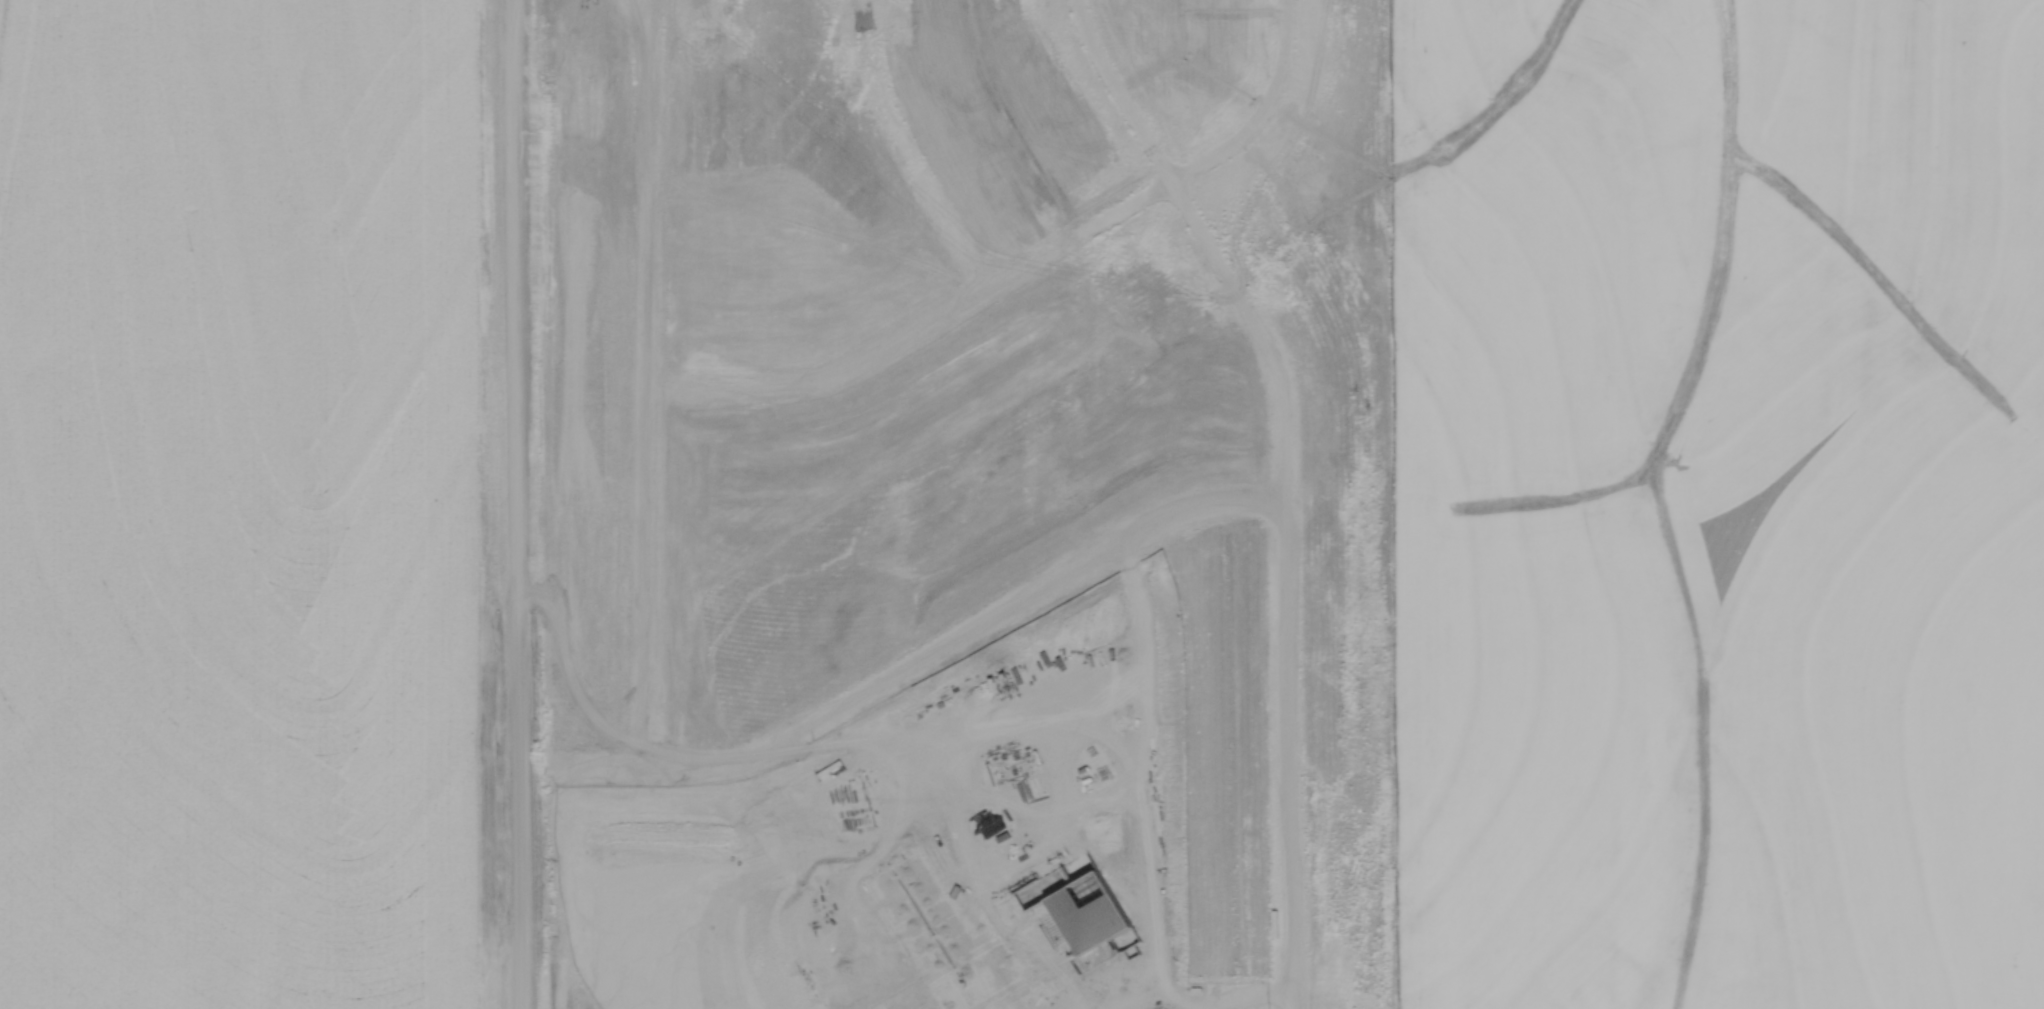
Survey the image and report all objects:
road: (859, 2)
road: (1116, 86)
road: (1259, 110)
road: (906, 147)
road: (648, 192)
road: (918, 318)
crop: (1719, 503)
road: (515, 504)
crop: (244, 507)
road: (650, 572)
road: (1284, 575)
road: (1128, 620)
road: (1139, 645)
road: (908, 655)
road: (1083, 708)
road: (1021, 748)
road: (958, 785)
road: (928, 802)
road: (780, 815)
building: (995, 931)
road: (1128, 1004)
road: (1225, 1007)
road: (1185, 1008)

